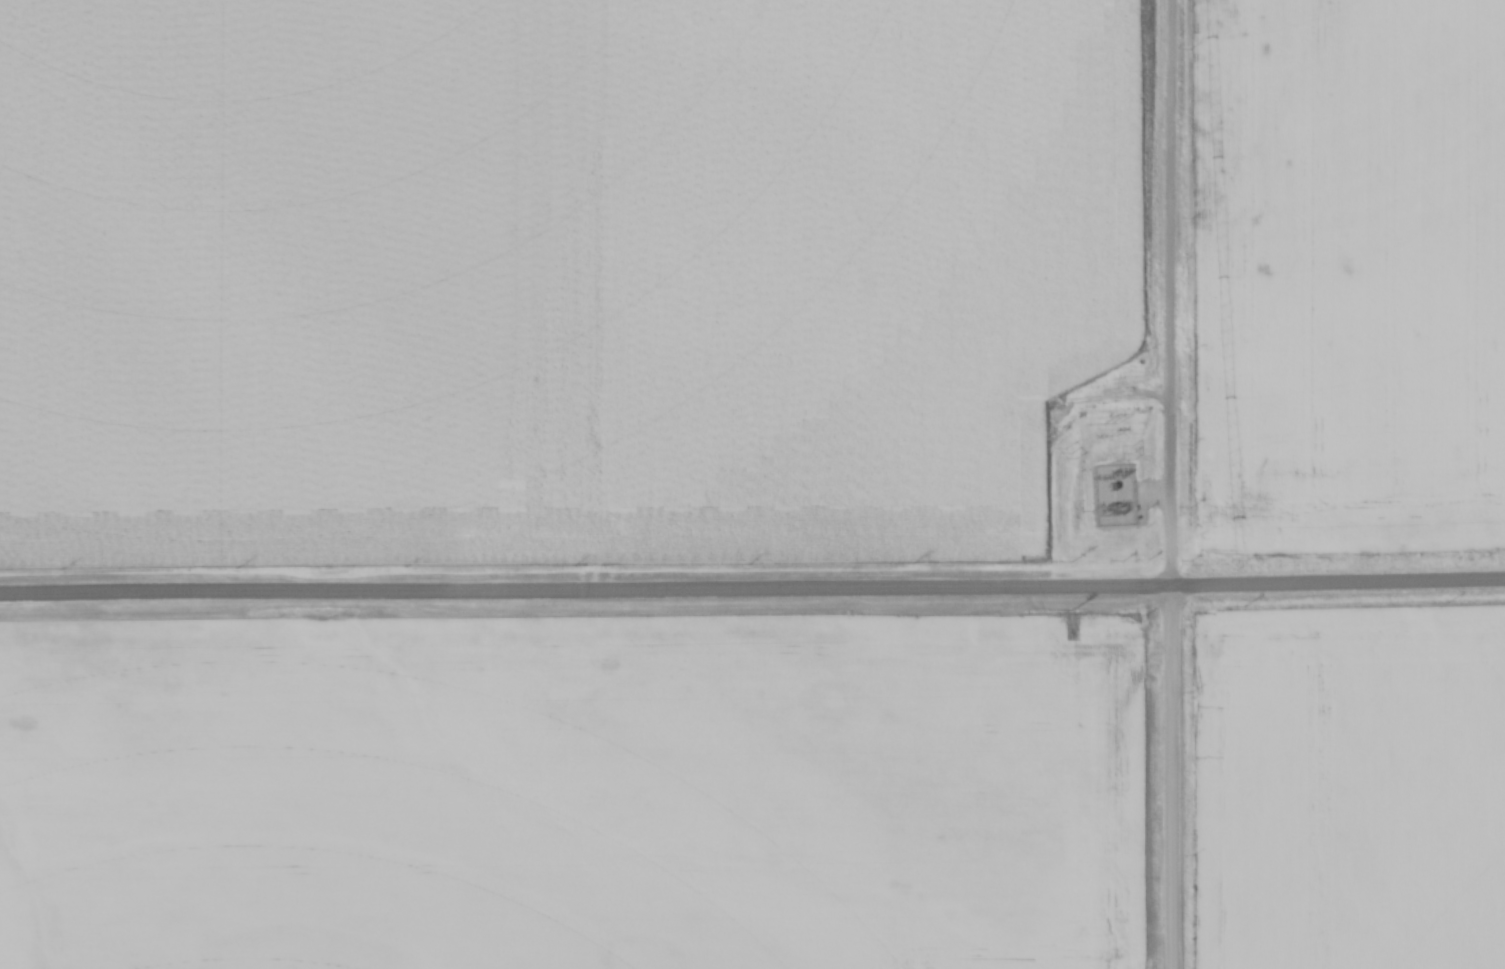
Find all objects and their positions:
road: (1171, 295)
power tower: (1113, 418)
road: (1152, 492)
power substation: (1114, 494)
road: (752, 597)
road: (1172, 780)

